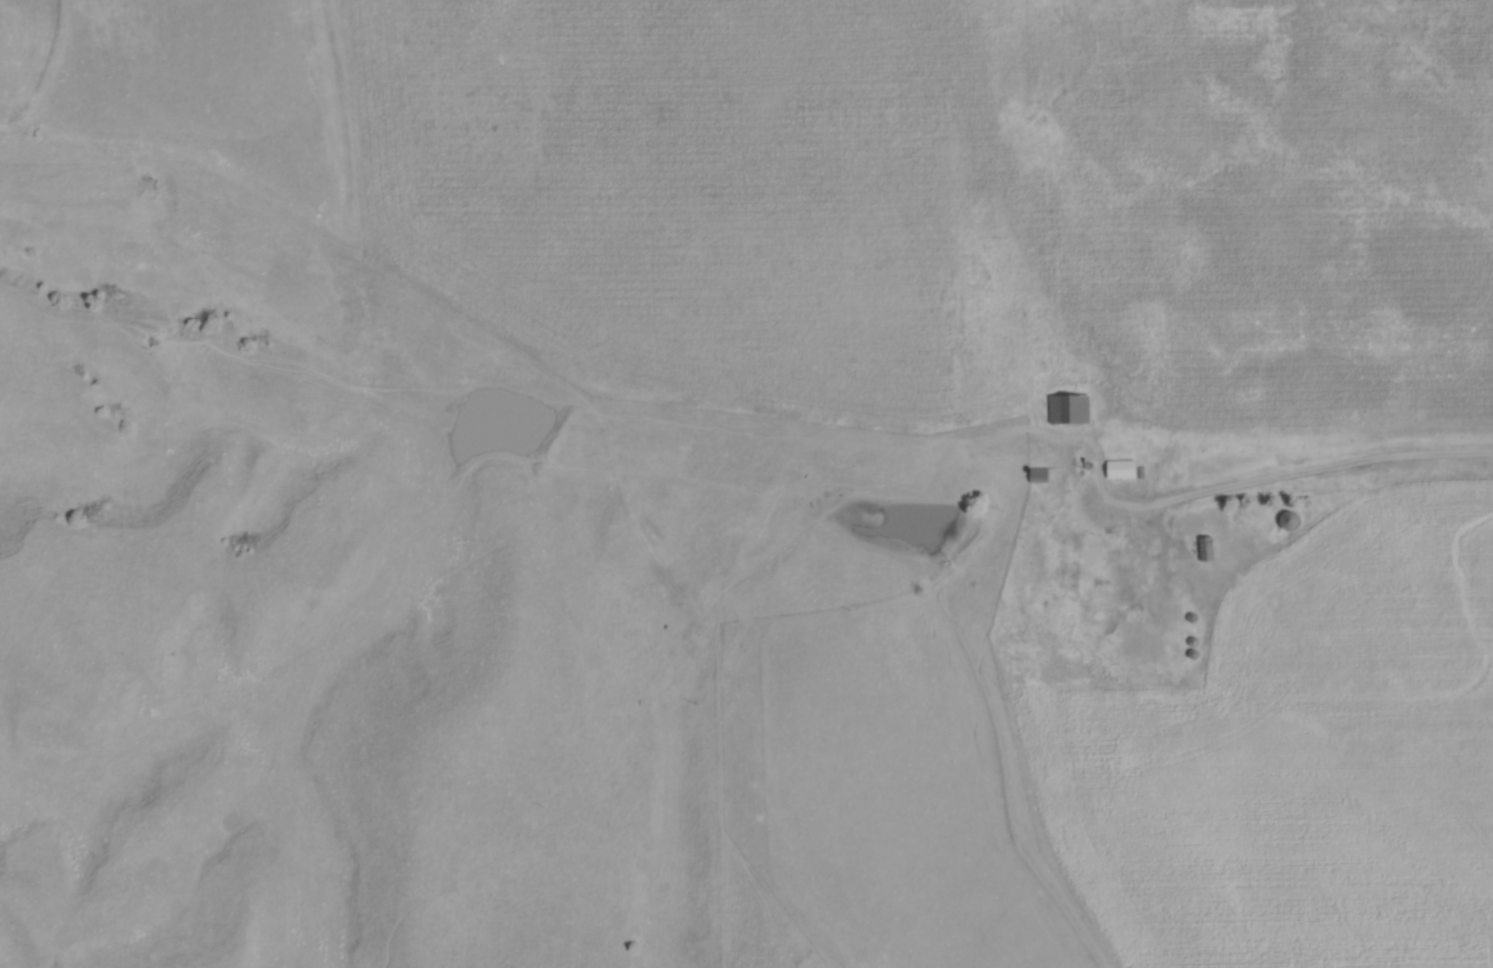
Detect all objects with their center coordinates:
building: (1072, 413)
building: (1124, 472)
road: (1303, 476)
building: (1040, 477)
building: (1292, 524)
building: (1209, 552)

